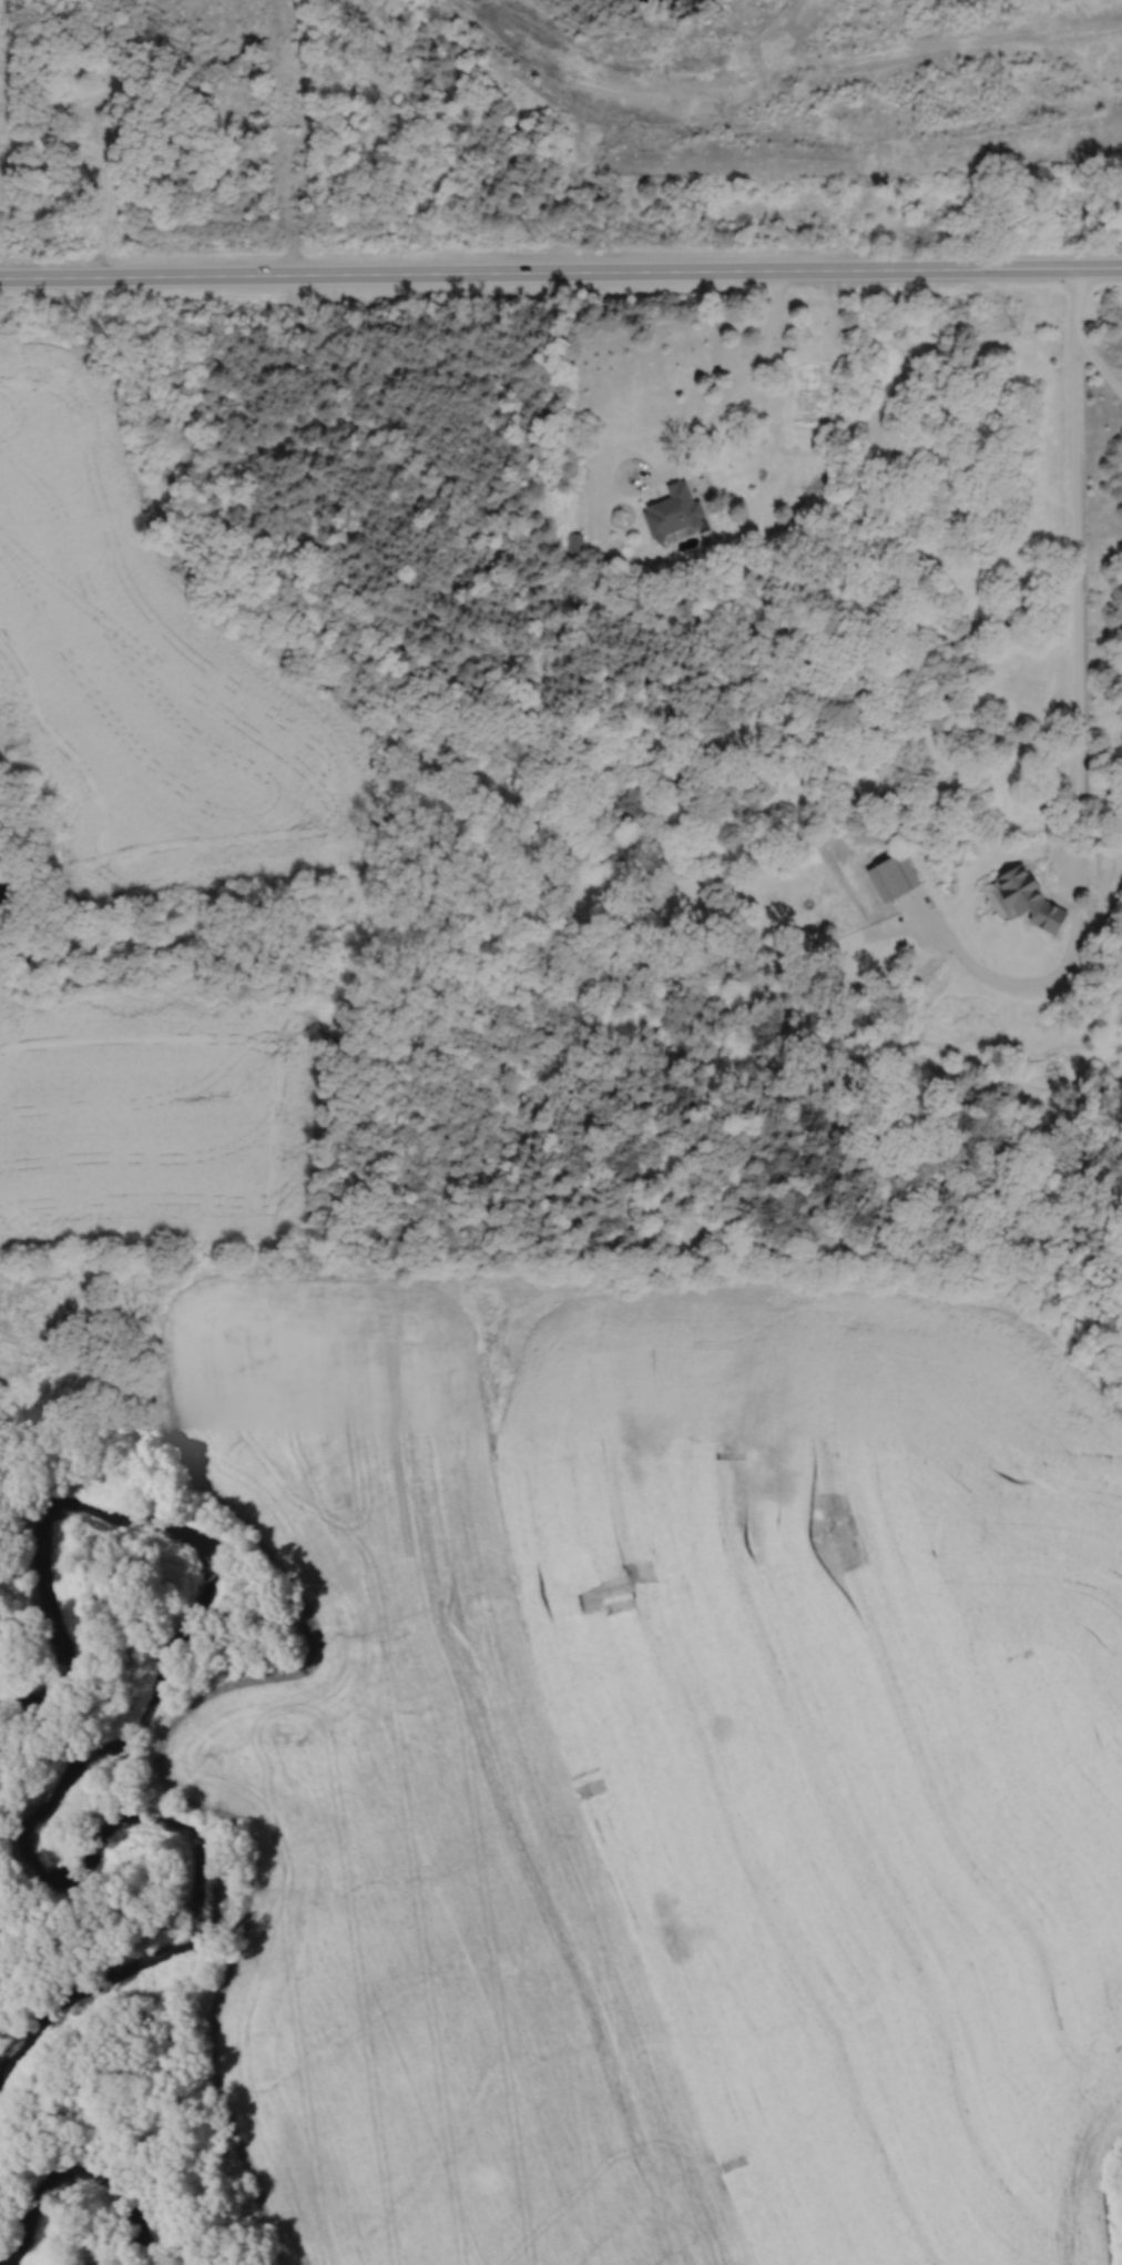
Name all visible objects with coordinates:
road: (284, 135)
road: (561, 268)
road: (1096, 363)
road: (746, 384)
road: (622, 489)
building: (673, 510)
road: (1077, 565)
building: (894, 876)
building: (1017, 894)
road: (1043, 983)
river: (106, 1757)
river: (102, 2177)

